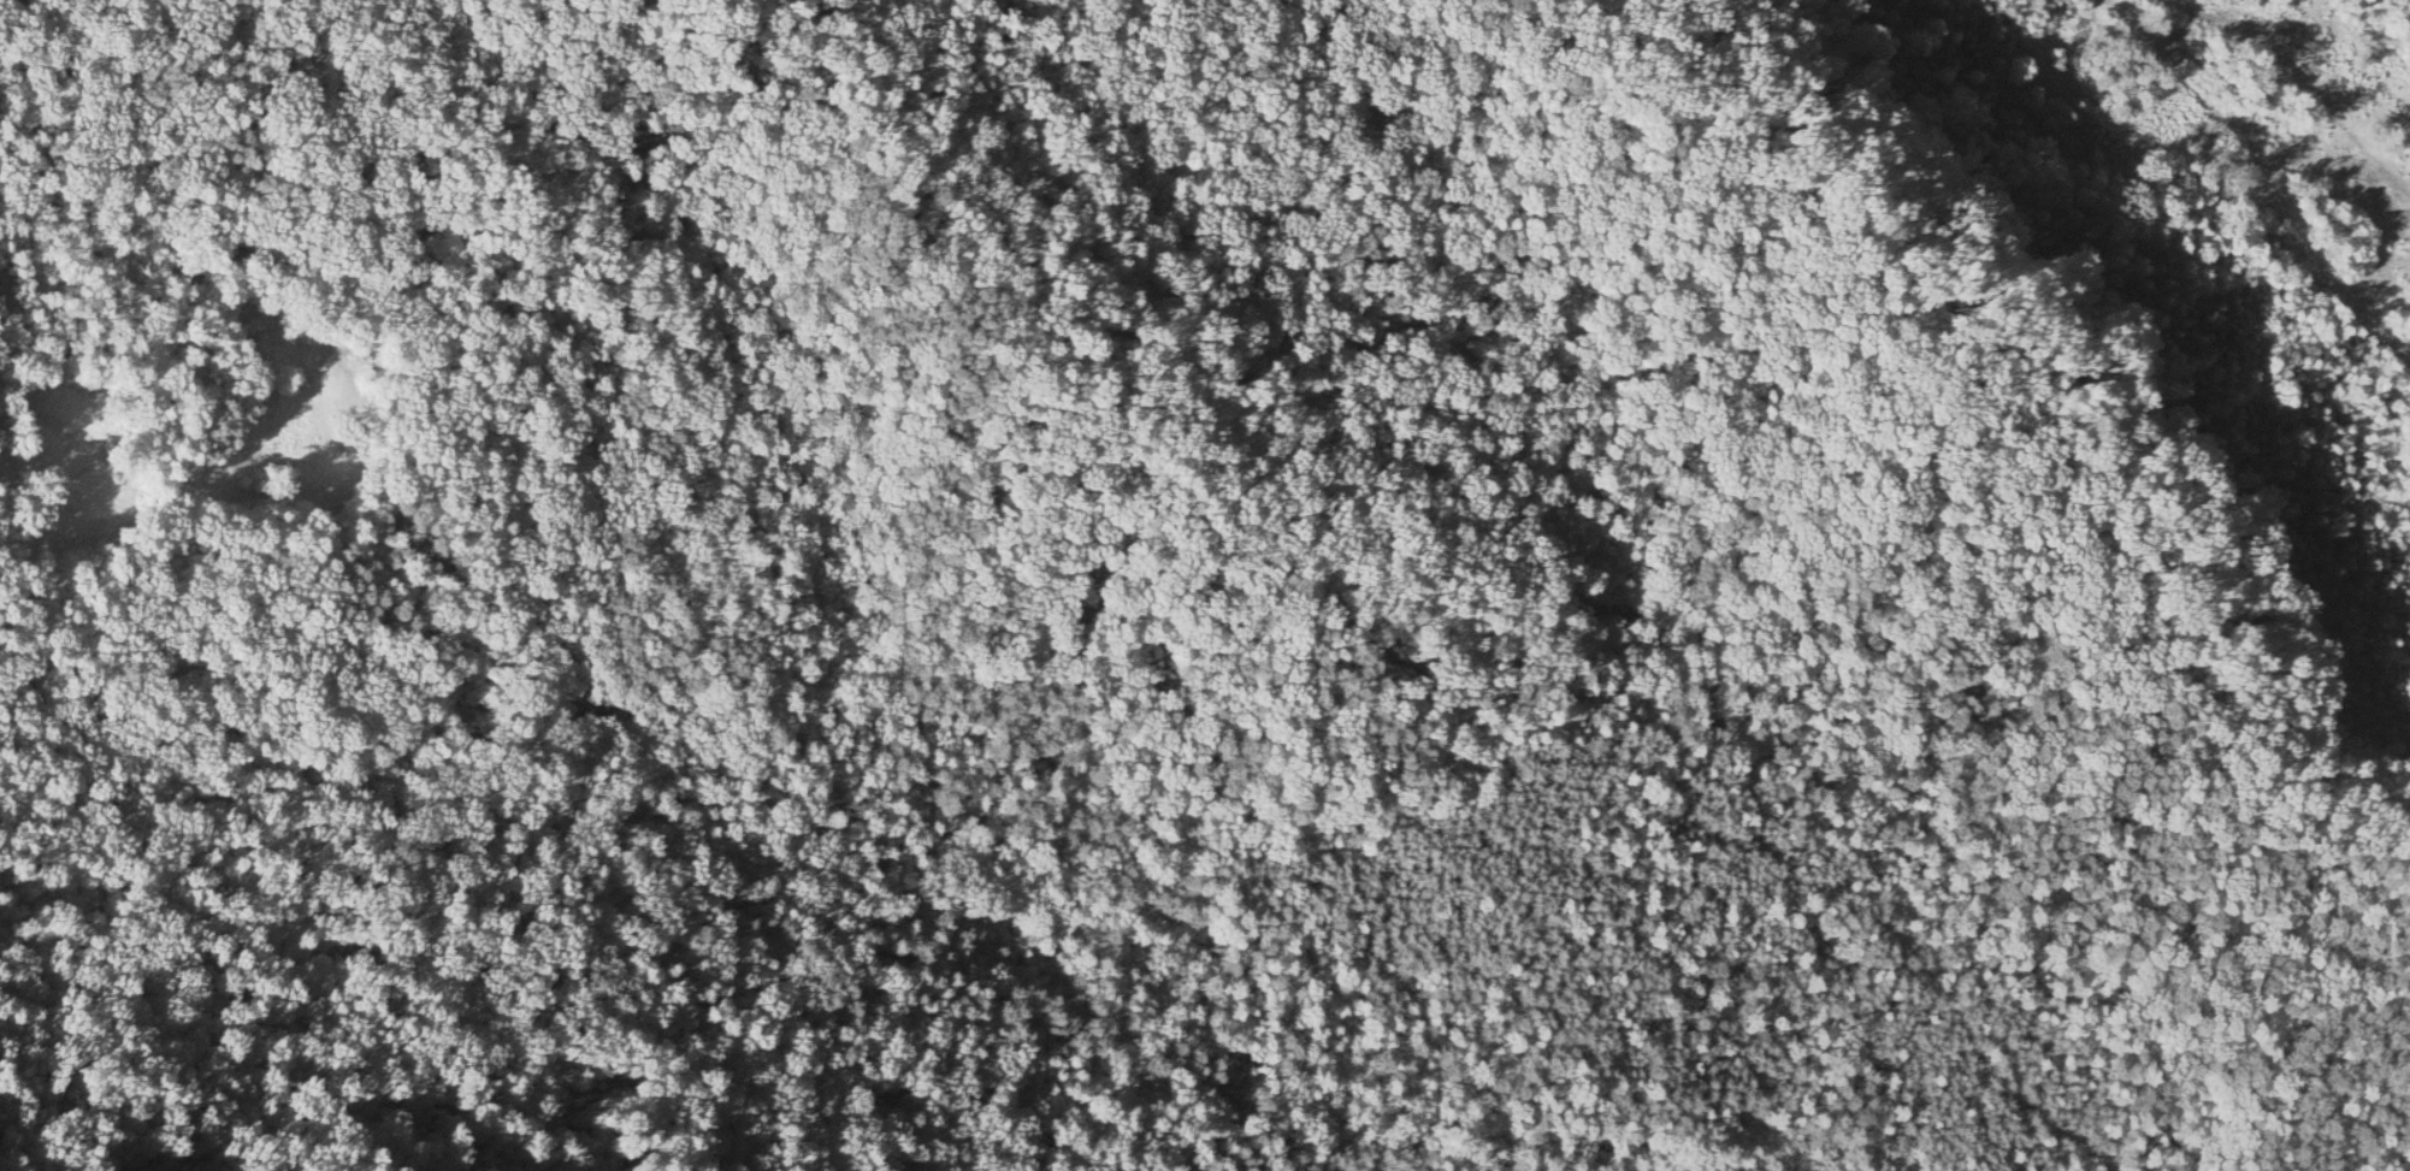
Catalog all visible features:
road: (2235, 161)

